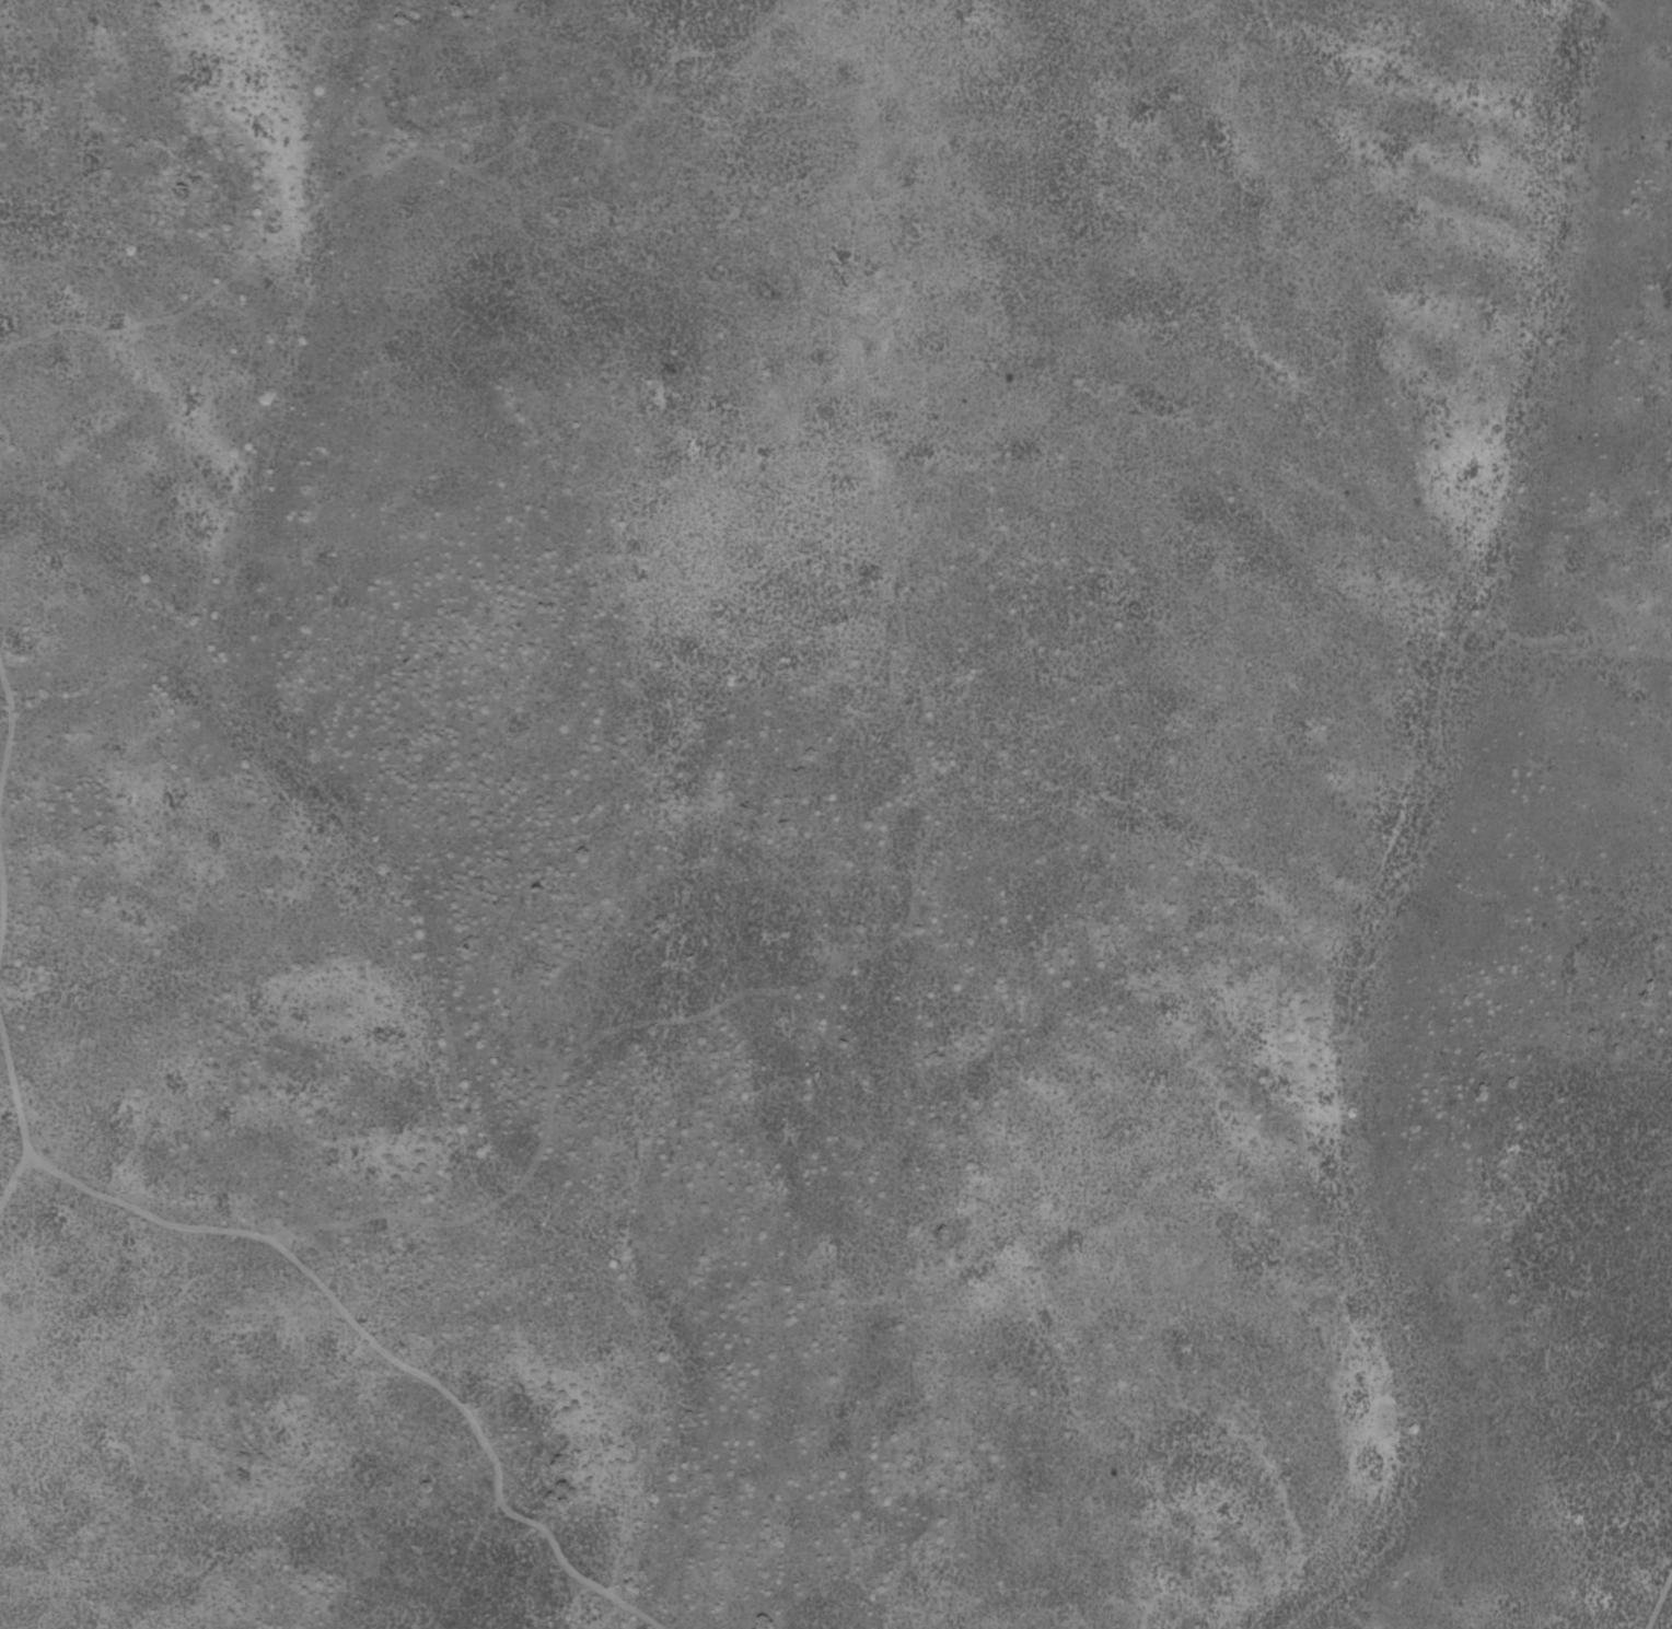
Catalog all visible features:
road: (30, 853)

